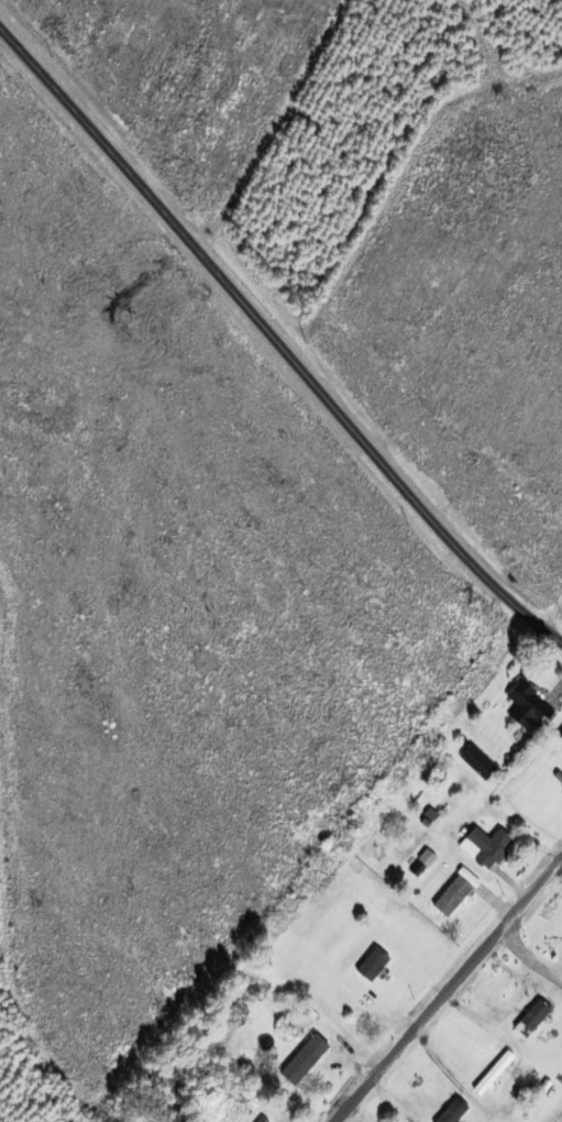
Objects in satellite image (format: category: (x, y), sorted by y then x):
road: (275, 342)
road: (552, 614)
building: (522, 706)
building: (474, 763)
building: (483, 847)
building: (449, 898)
building: (370, 965)
road: (447, 987)
building: (529, 1019)
building: (306, 1067)
building: (451, 1112)
building: (258, 1121)

